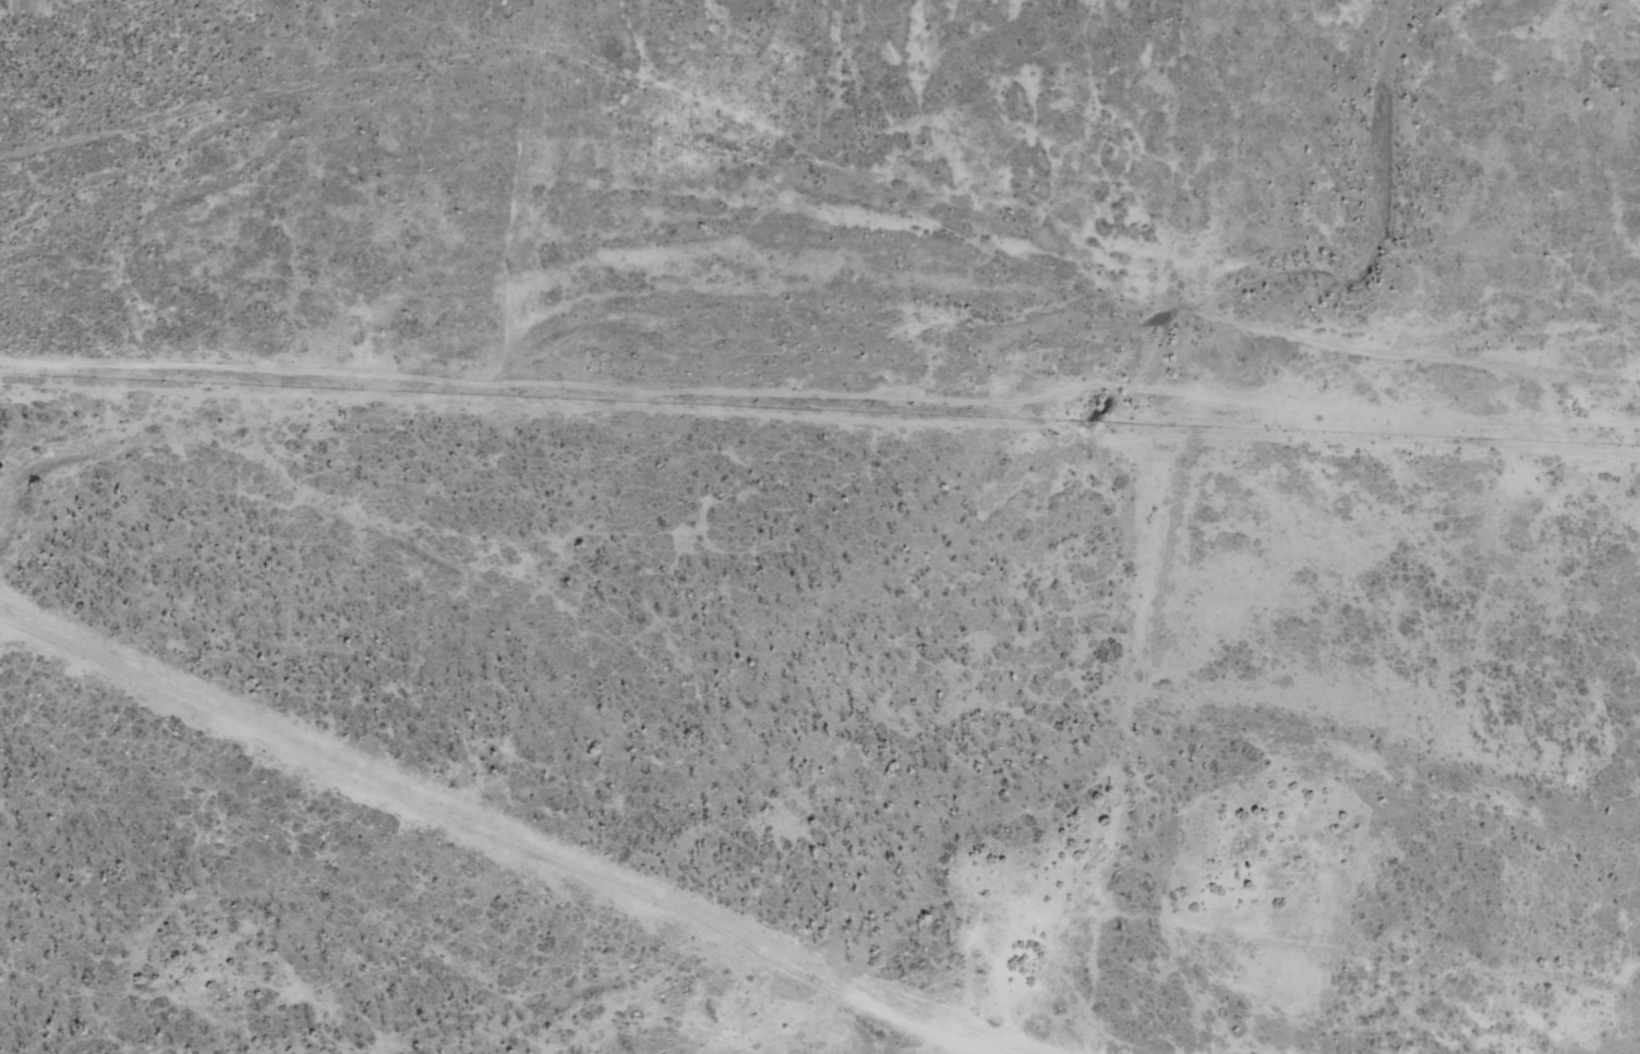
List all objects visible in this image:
road: (807, 210)

